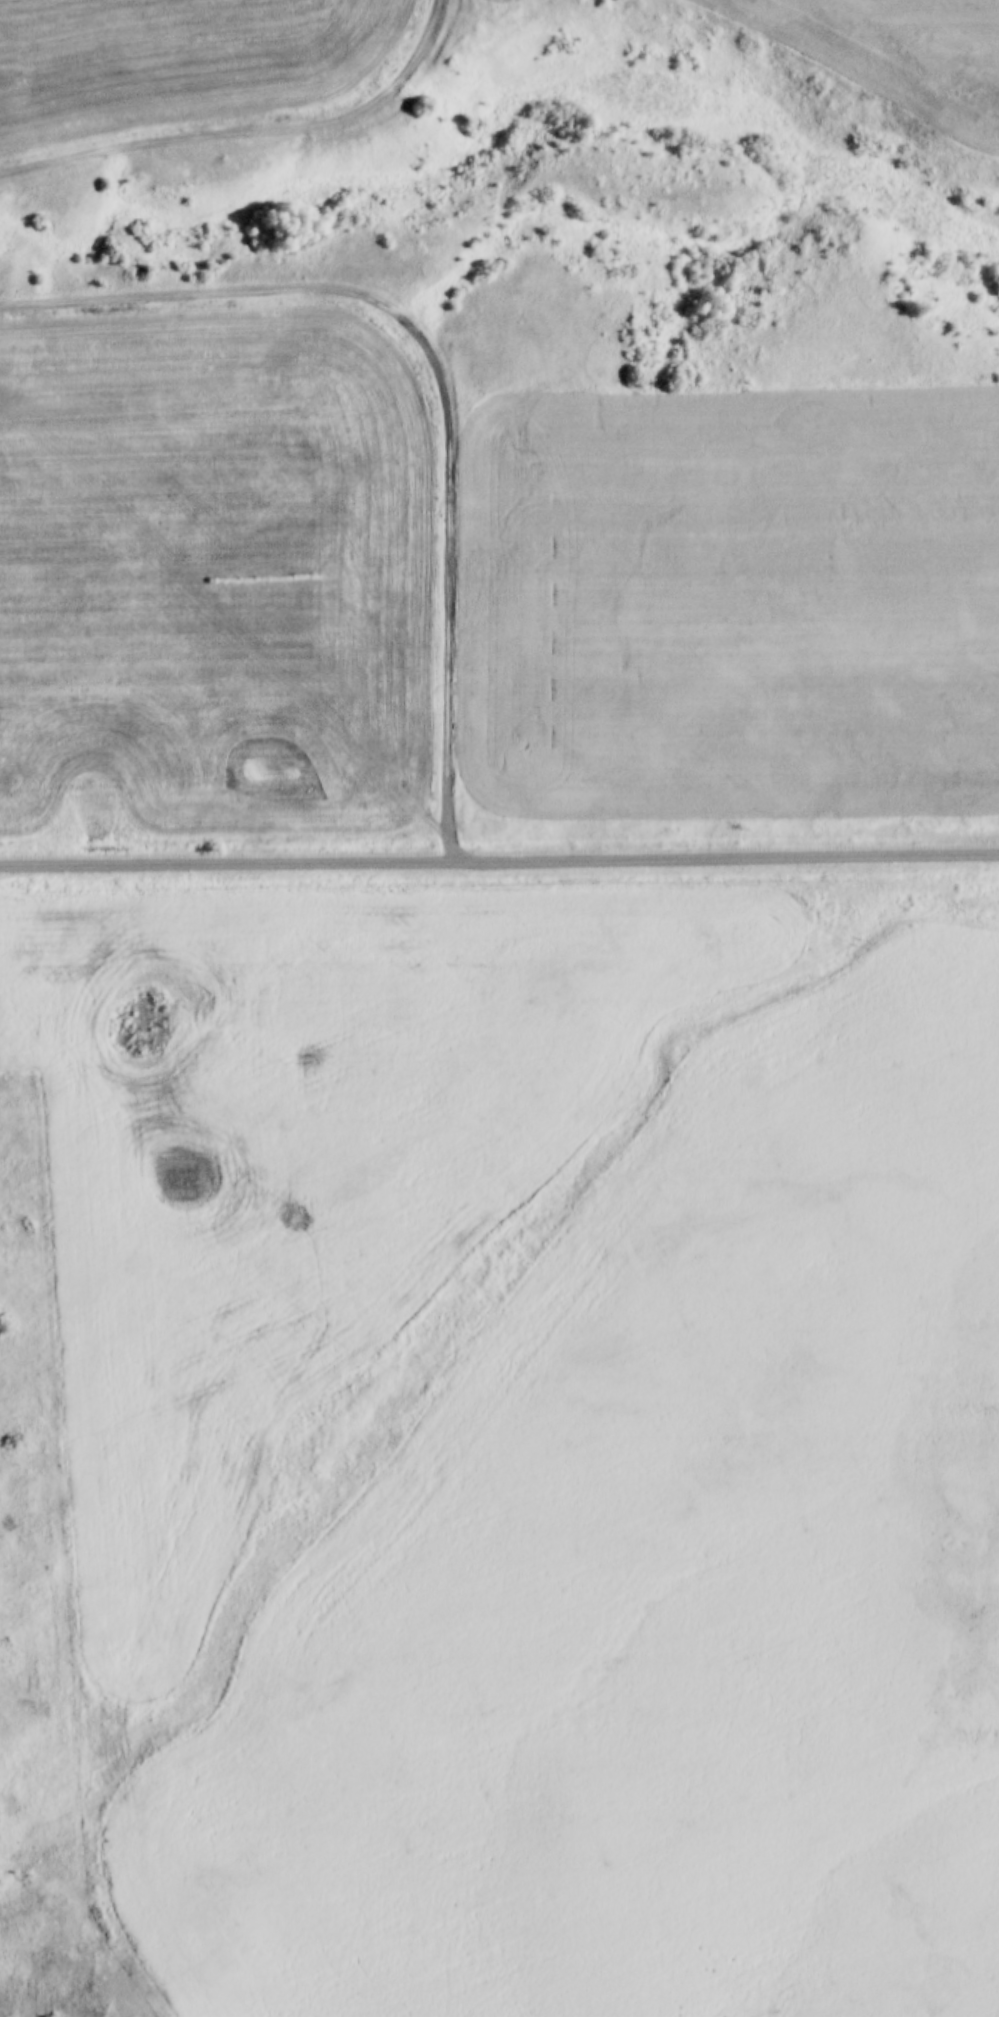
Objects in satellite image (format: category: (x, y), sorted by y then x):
road: (248, 130)
road: (437, 379)
road: (499, 859)

